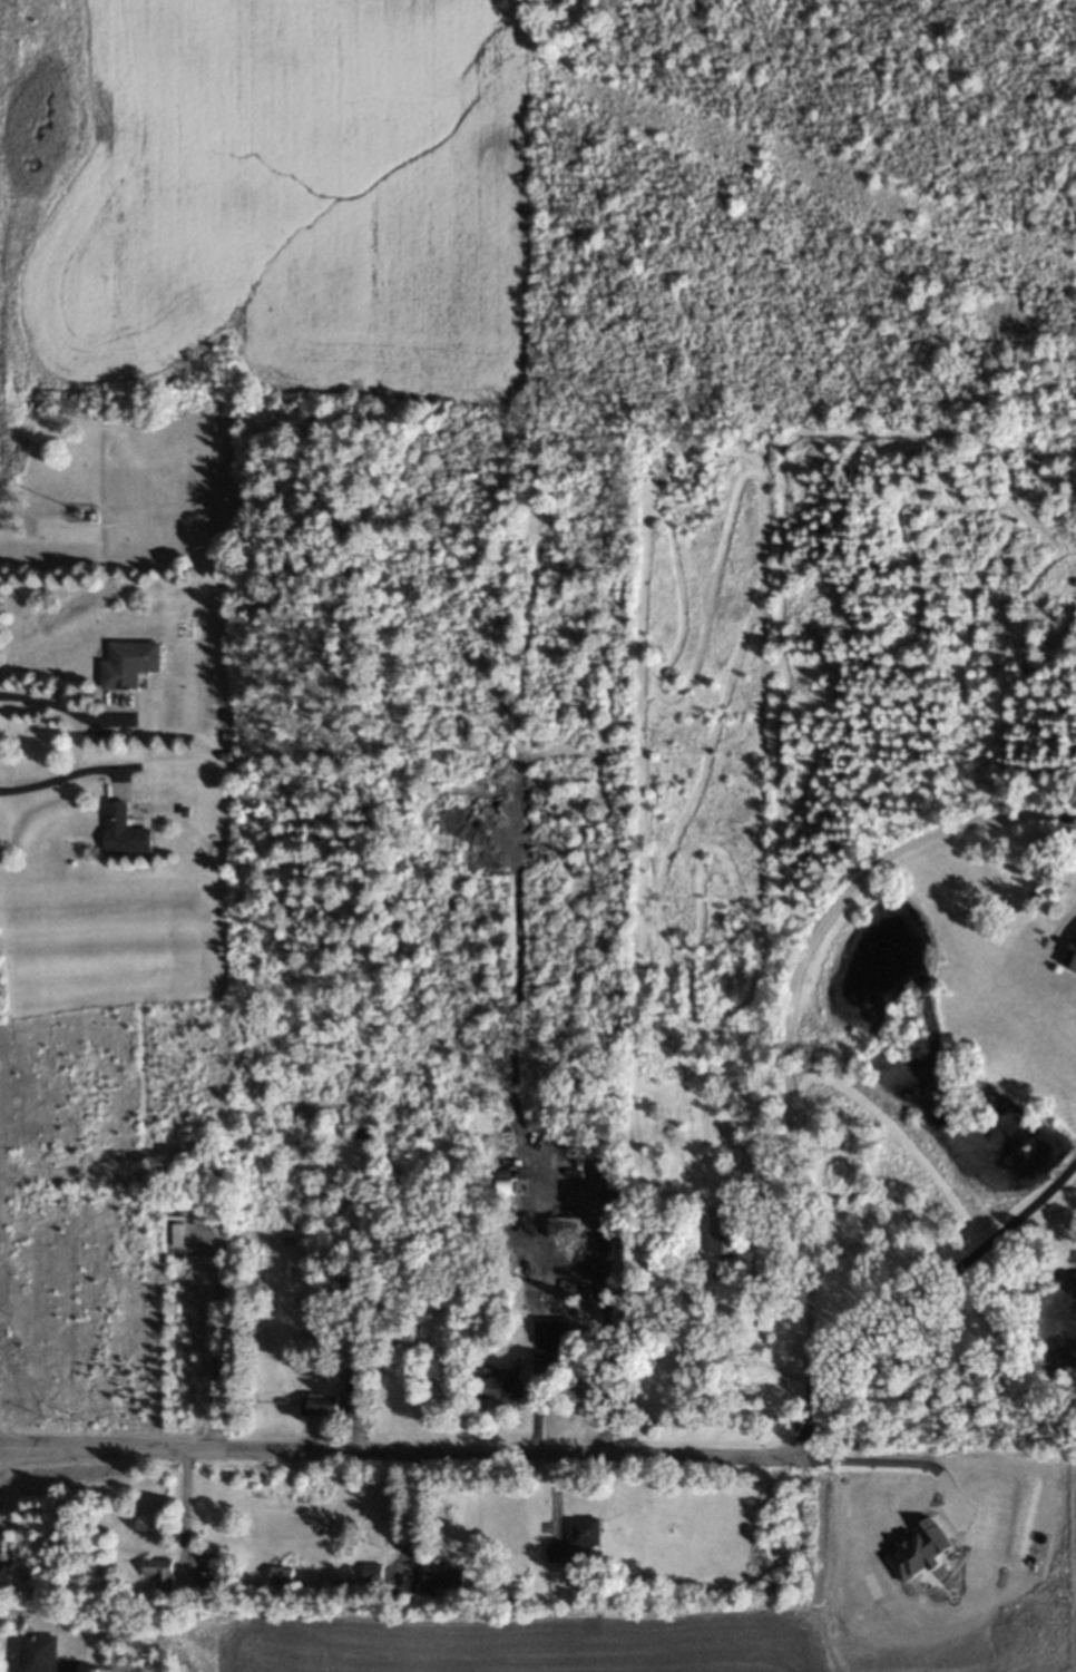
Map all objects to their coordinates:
building: (75, 510)
building: (130, 661)
road: (60, 707)
building: (226, 755)
road: (59, 772)
building: (185, 811)
building: (124, 831)
building: (1074, 960)
road: (783, 999)
building: (362, 1134)
building: (505, 1182)
building: (565, 1229)
building: (725, 1231)
building: (175, 1234)
road: (917, 1297)
building: (345, 1299)
building: (552, 1331)
road: (214, 1347)
building: (354, 1386)
building: (505, 1389)
building: (323, 1406)
road: (398, 1451)
road: (896, 1456)
building: (576, 1542)
building: (918, 1549)
building: (373, 1574)
building: (282, 1575)
building: (156, 1576)
building: (438, 1578)
building: (203, 1583)
building: (46, 1656)

